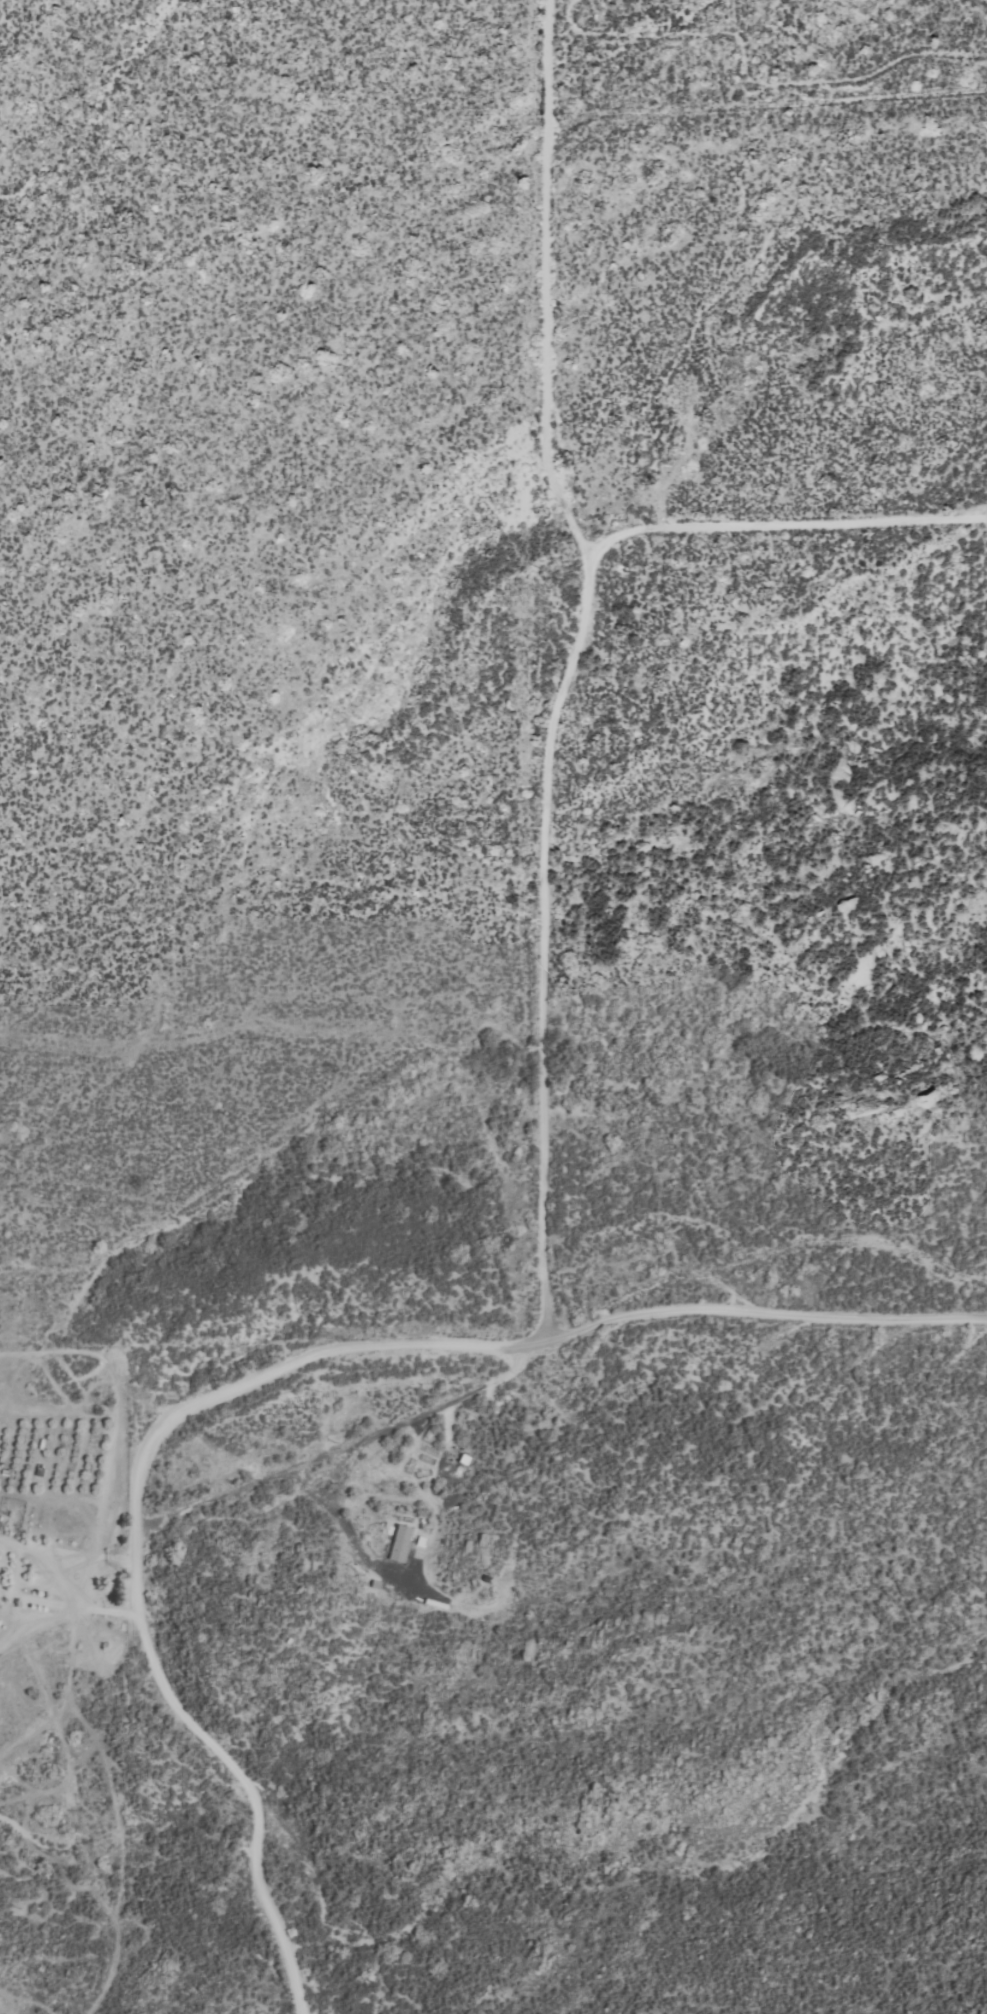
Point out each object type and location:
road: (540, 1010)
building: (400, 1543)
road: (196, 1728)

